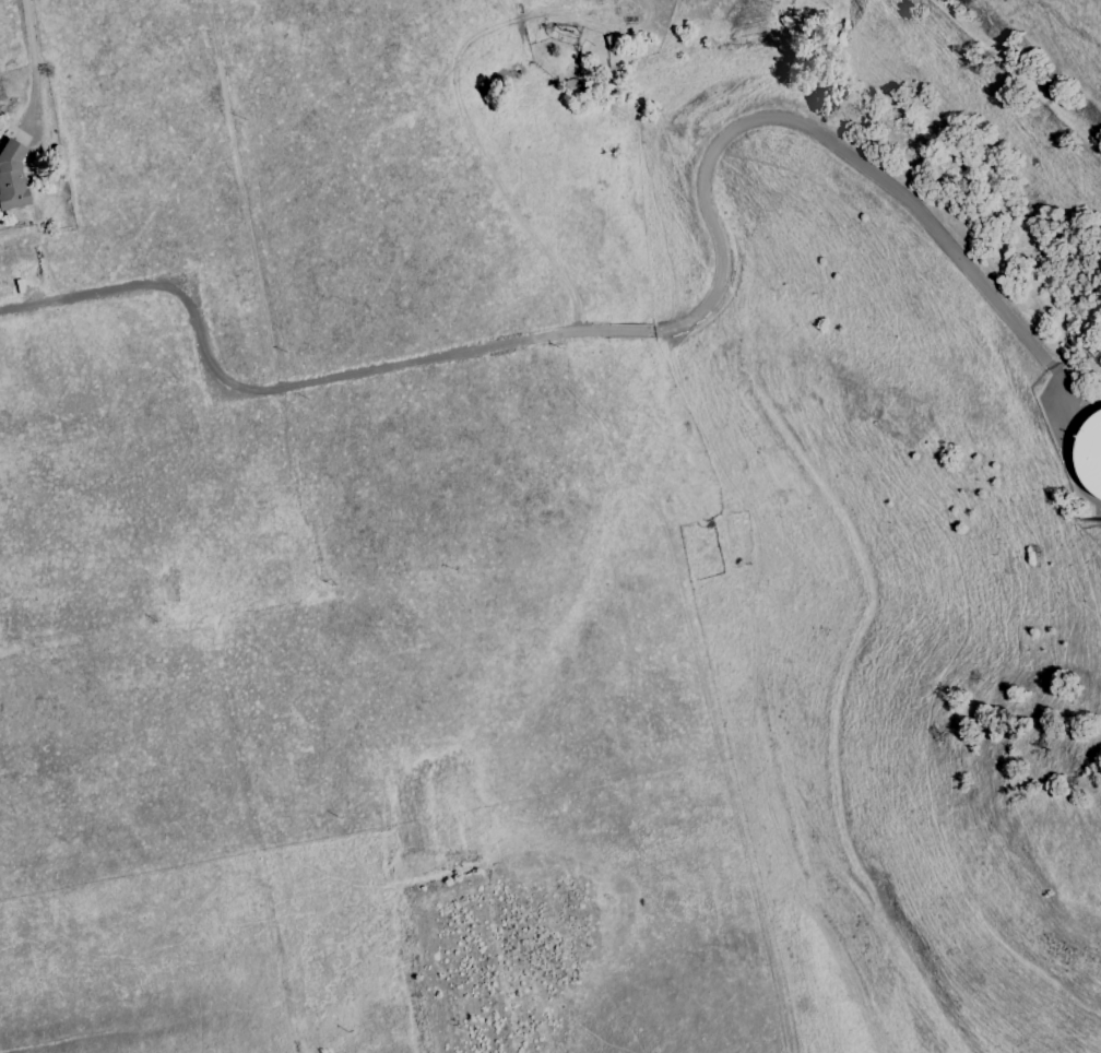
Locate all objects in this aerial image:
road: (37, 51)
building: (12, 176)
road: (969, 201)
road: (630, 335)
building: (1090, 454)

